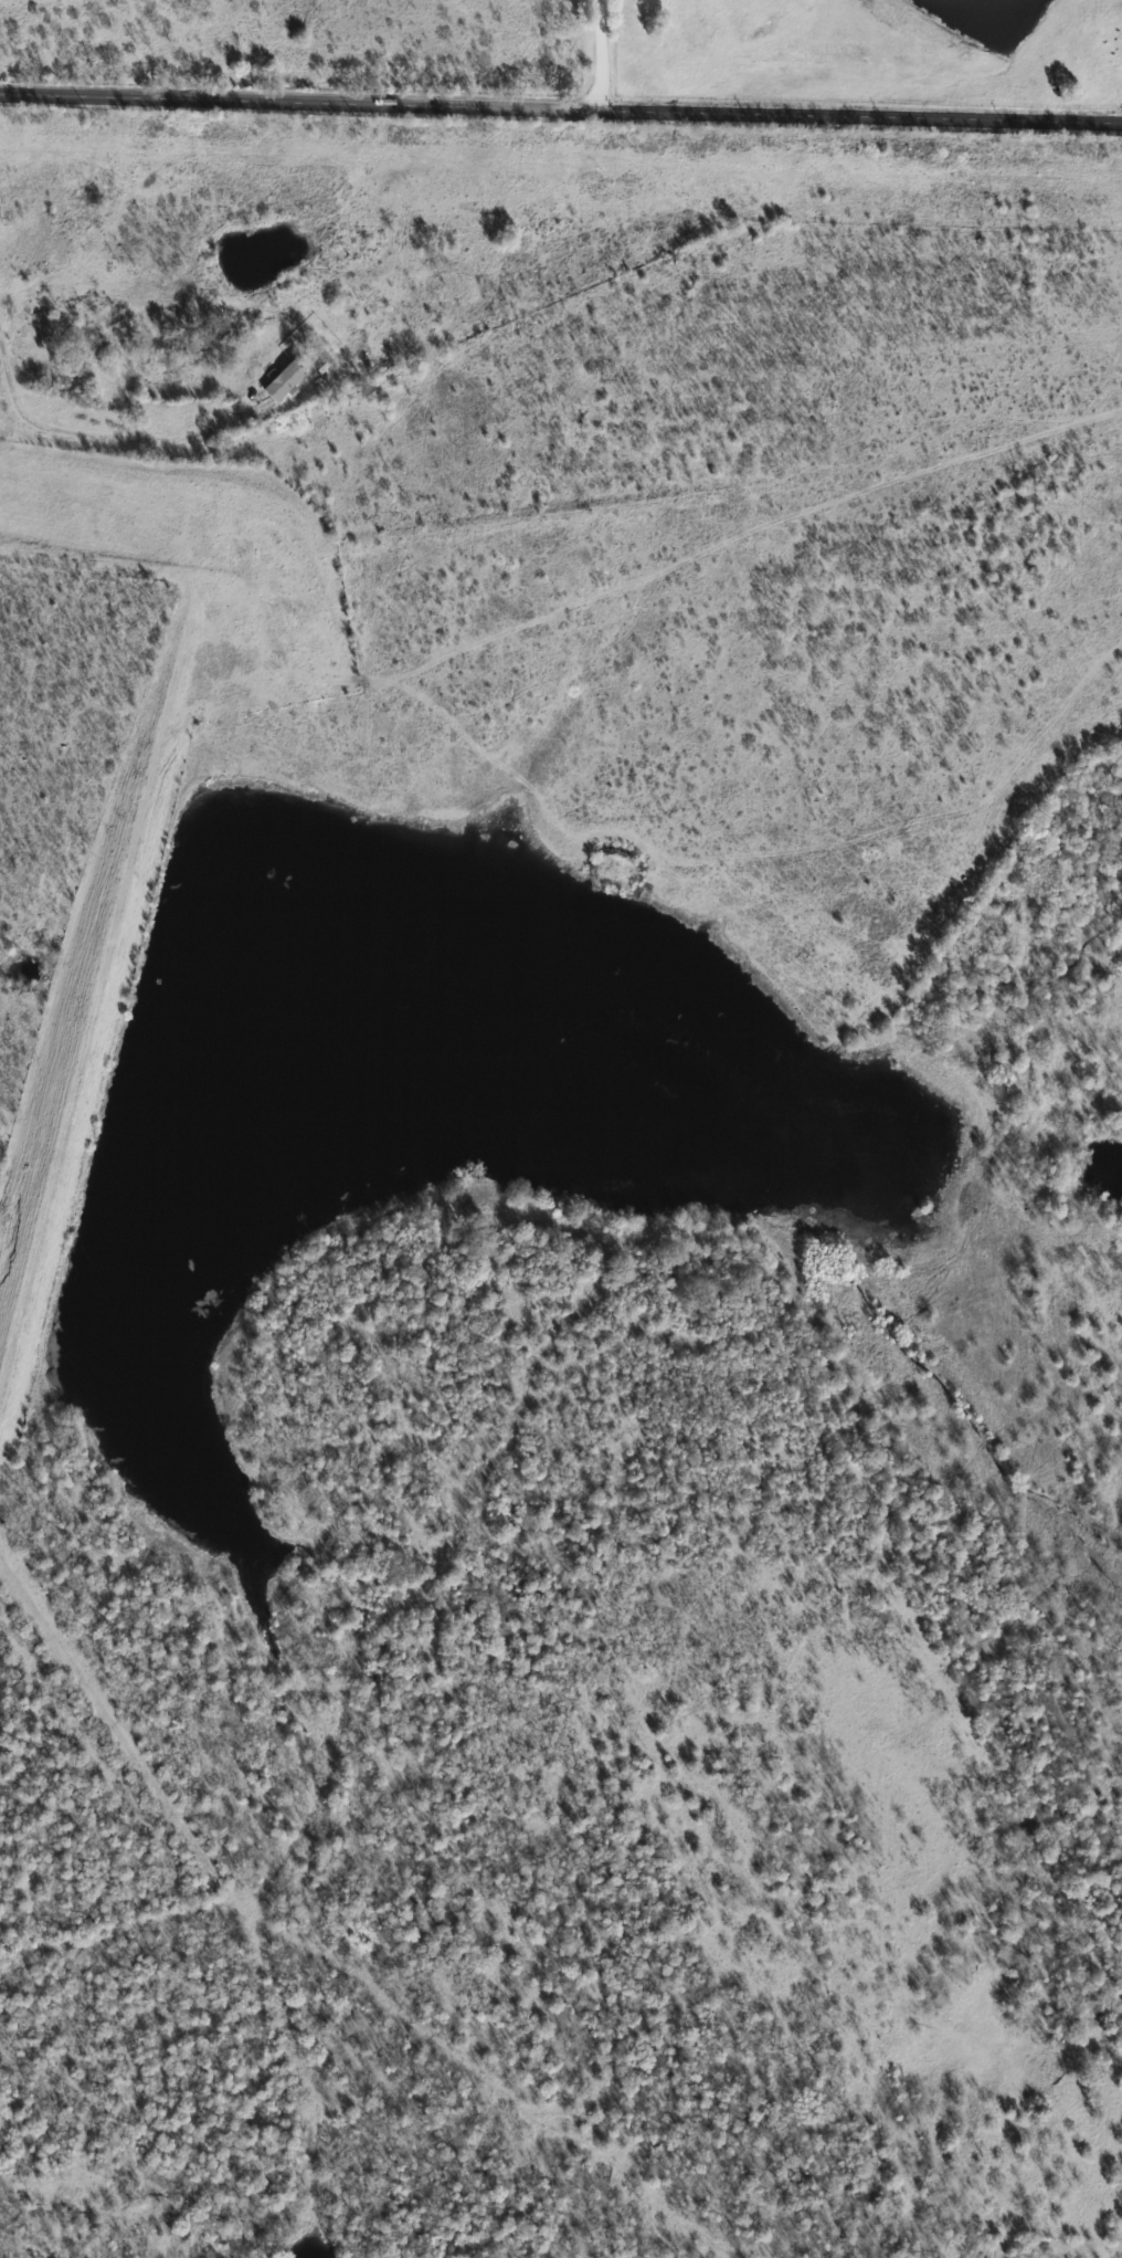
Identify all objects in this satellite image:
road: (596, 55)
road: (560, 111)
building: (287, 378)
road: (88, 432)
road: (324, 527)
road: (232, 1731)

